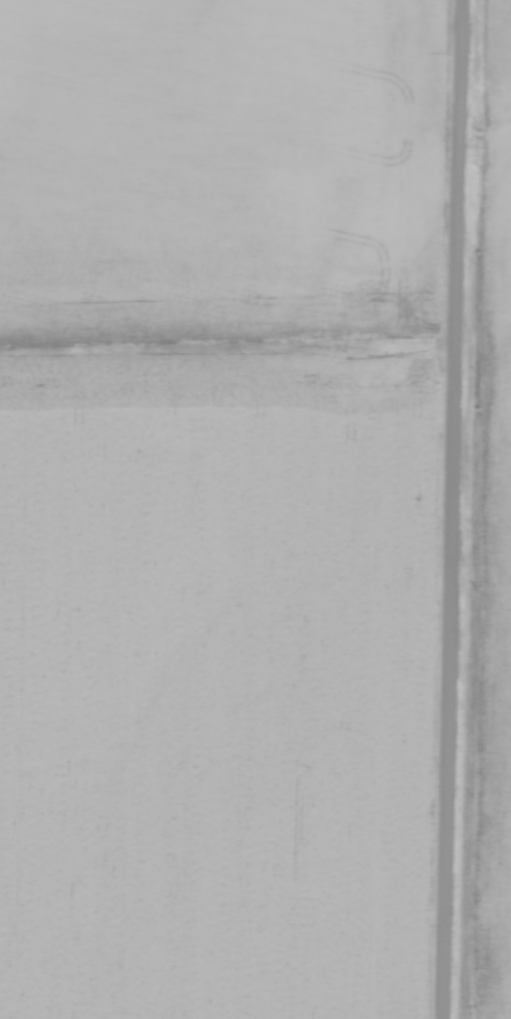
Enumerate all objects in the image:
road: (443, 509)

